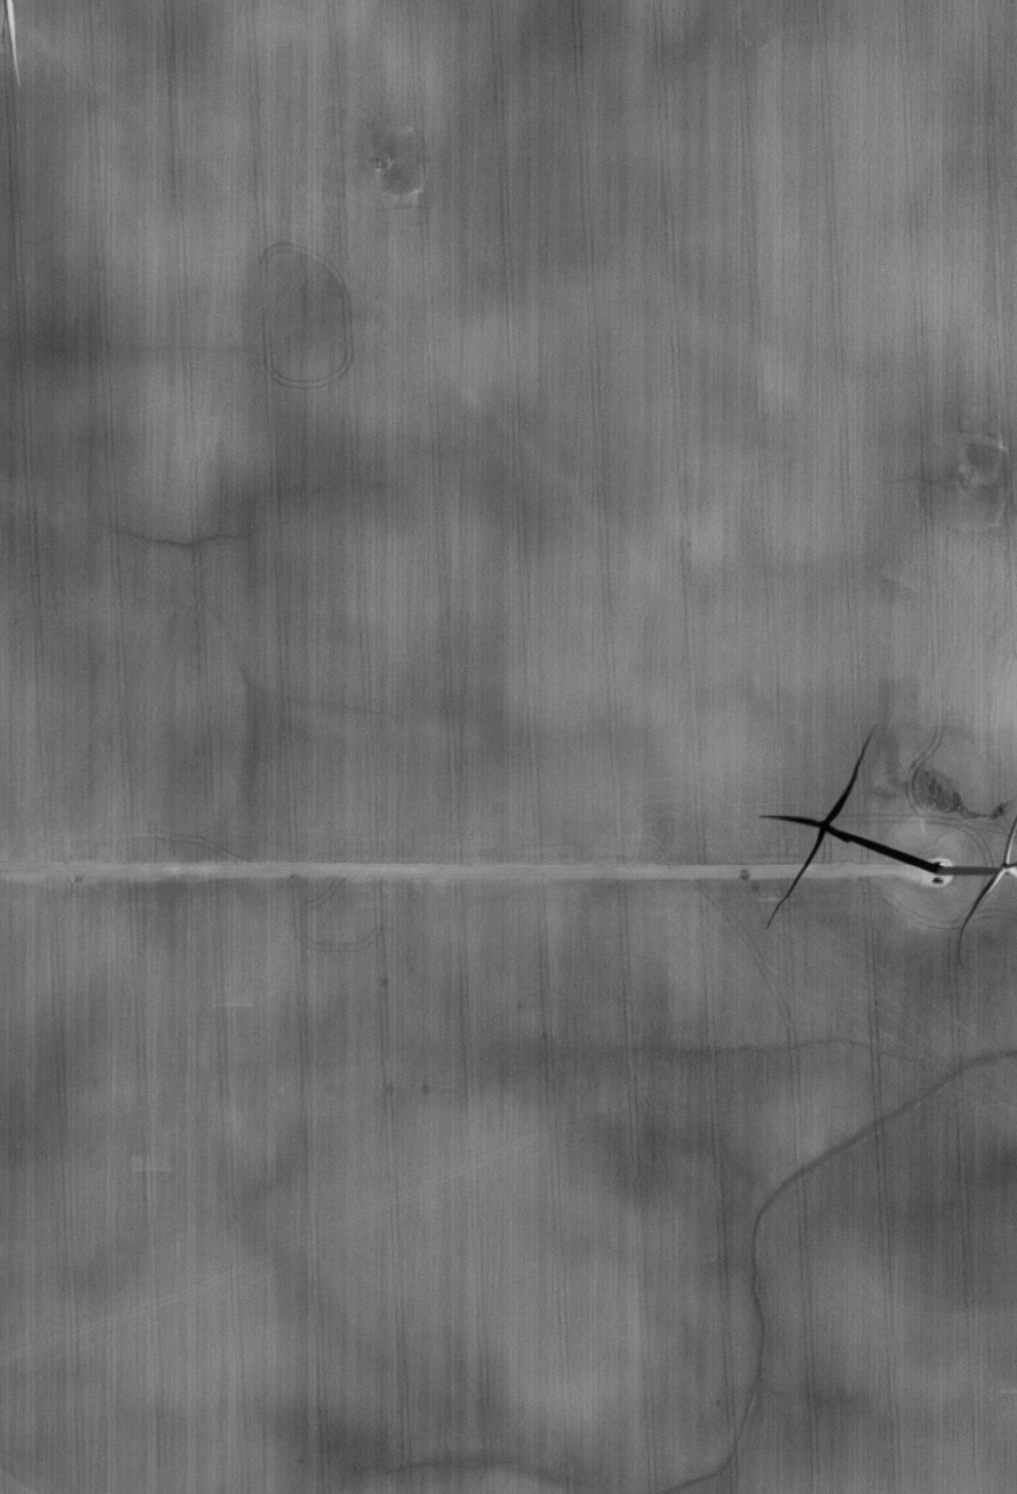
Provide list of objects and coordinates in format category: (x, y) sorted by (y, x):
road: (444, 866)
wind turbine: (939, 878)

